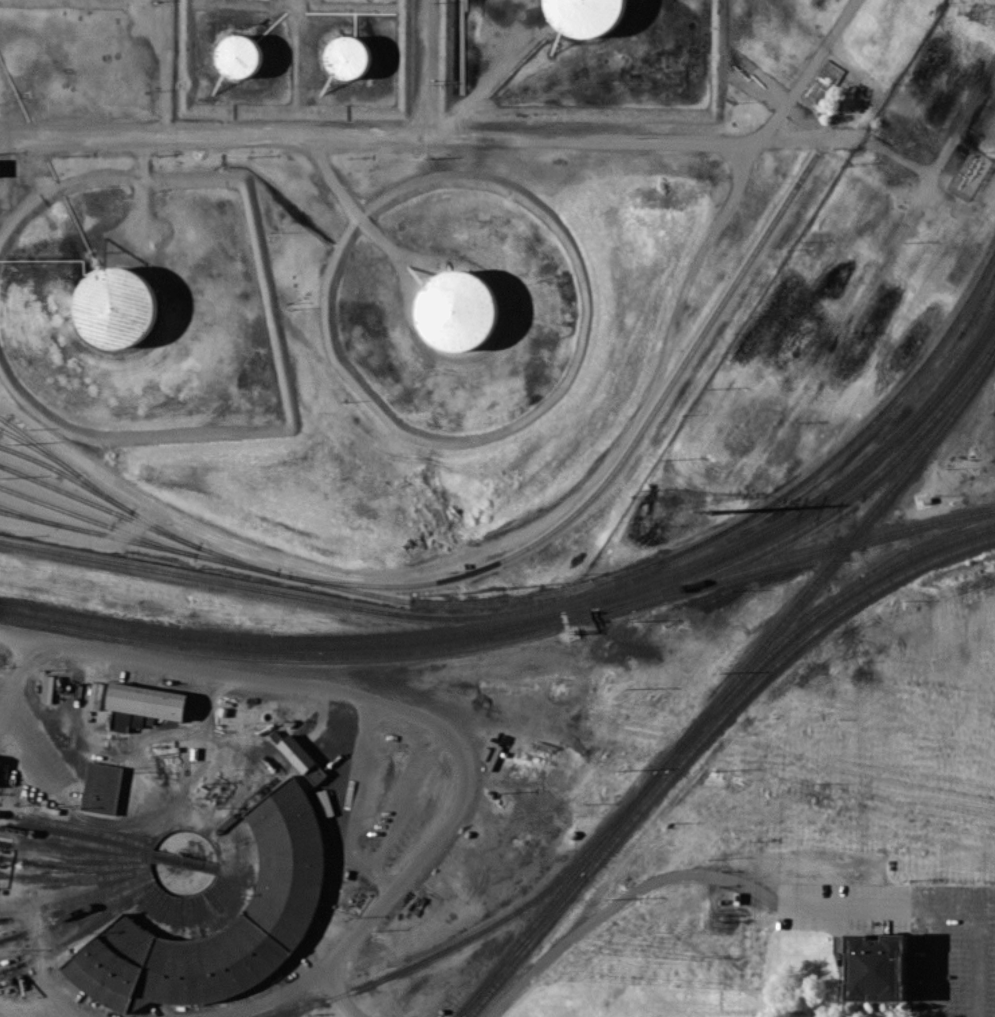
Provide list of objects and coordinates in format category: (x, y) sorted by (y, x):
power tower: (979, 10)
building: (584, 16)
building: (238, 52)
building: (347, 53)
road: (164, 68)
road: (426, 70)
road: (460, 141)
road: (144, 190)
road: (353, 203)
building: (448, 305)
building: (117, 307)
road: (516, 431)
railway: (39, 450)
railway: (65, 464)
railway: (616, 464)
railway: (66, 475)
power tower: (668, 496)
railway: (818, 500)
power tower: (710, 510)
railway: (821, 514)
railway: (27, 516)
railway: (137, 521)
railway: (96, 522)
railway: (164, 529)
railway: (96, 532)
road: (469, 552)
railway: (794, 557)
railway: (832, 560)
railway: (235, 563)
railway: (563, 598)
railway: (469, 602)
railway: (810, 619)
railway: (72, 628)
railway: (290, 642)
railway: (372, 654)
railway: (764, 674)
road: (14, 678)
building: (142, 704)
road: (389, 707)
building: (297, 754)
building: (101, 786)
railway: (243, 806)
railway: (77, 827)
railway: (229, 829)
railway: (233, 835)
railway: (75, 840)
railway: (236, 843)
railway: (238, 850)
railway: (74, 852)
railway: (239, 858)
railway: (74, 866)
road: (688, 873)
railway: (75, 878)
railway: (159, 886)
railway: (559, 891)
railway: (198, 893)
railway: (77, 898)
building: (284, 900)
railway: (217, 906)
railway: (154, 909)
road: (957, 909)
railway: (77, 910)
railway: (211, 910)
railway: (160, 912)
railway: (204, 913)
railway: (198, 915)
railway: (175, 917)
railway: (182, 917)
railway: (190, 917)
railway: (485, 926)
railway: (78, 929)
railway: (522, 944)
railway: (526, 946)
building: (876, 967)
road: (271, 996)
road: (58, 997)

